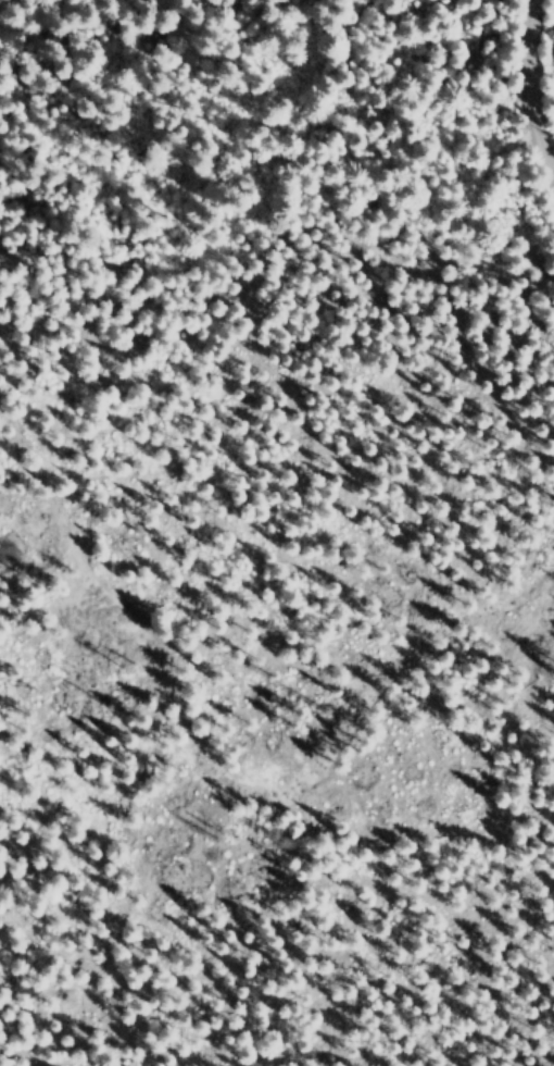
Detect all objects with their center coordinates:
road: (495, 150)

